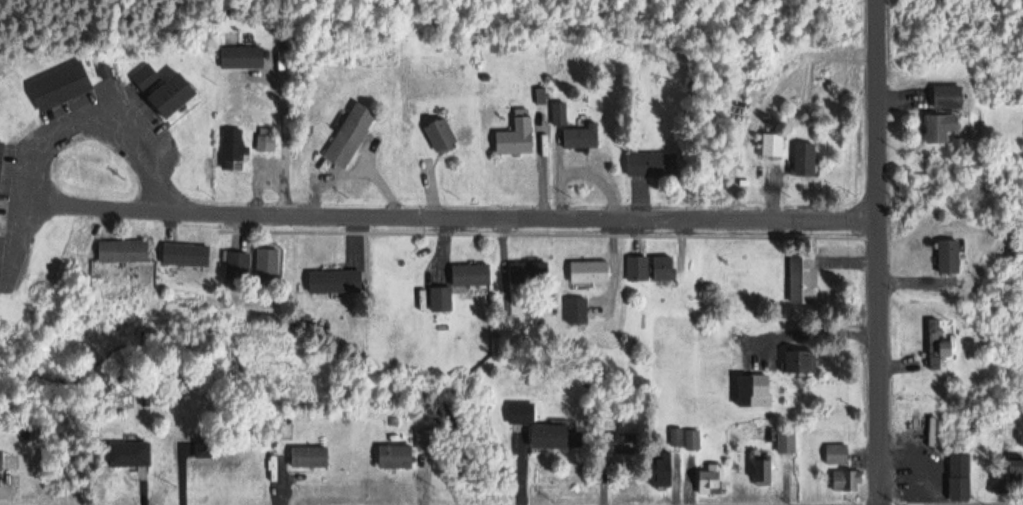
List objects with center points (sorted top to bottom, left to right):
building: (242, 56)
building: (144, 76)
building: (60, 86)
building: (807, 88)
building: (172, 95)
building: (948, 97)
building: (937, 128)
building: (351, 135)
building: (440, 135)
building: (517, 136)
building: (582, 137)
building: (265, 144)
building: (772, 145)
building: (233, 149)
building: (1, 153)
building: (805, 160)
building: (649, 164)
road: (447, 214)
building: (123, 251)
road: (876, 252)
building: (186, 255)
building: (949, 256)
building: (267, 266)
building: (238, 267)
building: (663, 267)
building: (637, 268)
building: (589, 271)
building: (529, 272)
building: (470, 274)
building: (803, 278)
building: (335, 281)
building: (441, 298)
building: (577, 310)
building: (937, 344)
building: (807, 361)
building: (754, 390)
building: (521, 412)
building: (548, 436)
building: (693, 439)
building: (786, 440)
building: (623, 442)
building: (129, 453)
building: (837, 454)
building: (395, 456)
building: (309, 457)
building: (1, 460)
building: (1016, 466)
building: (662, 468)
building: (763, 469)
building: (712, 480)
building: (847, 480)
building: (960, 488)

